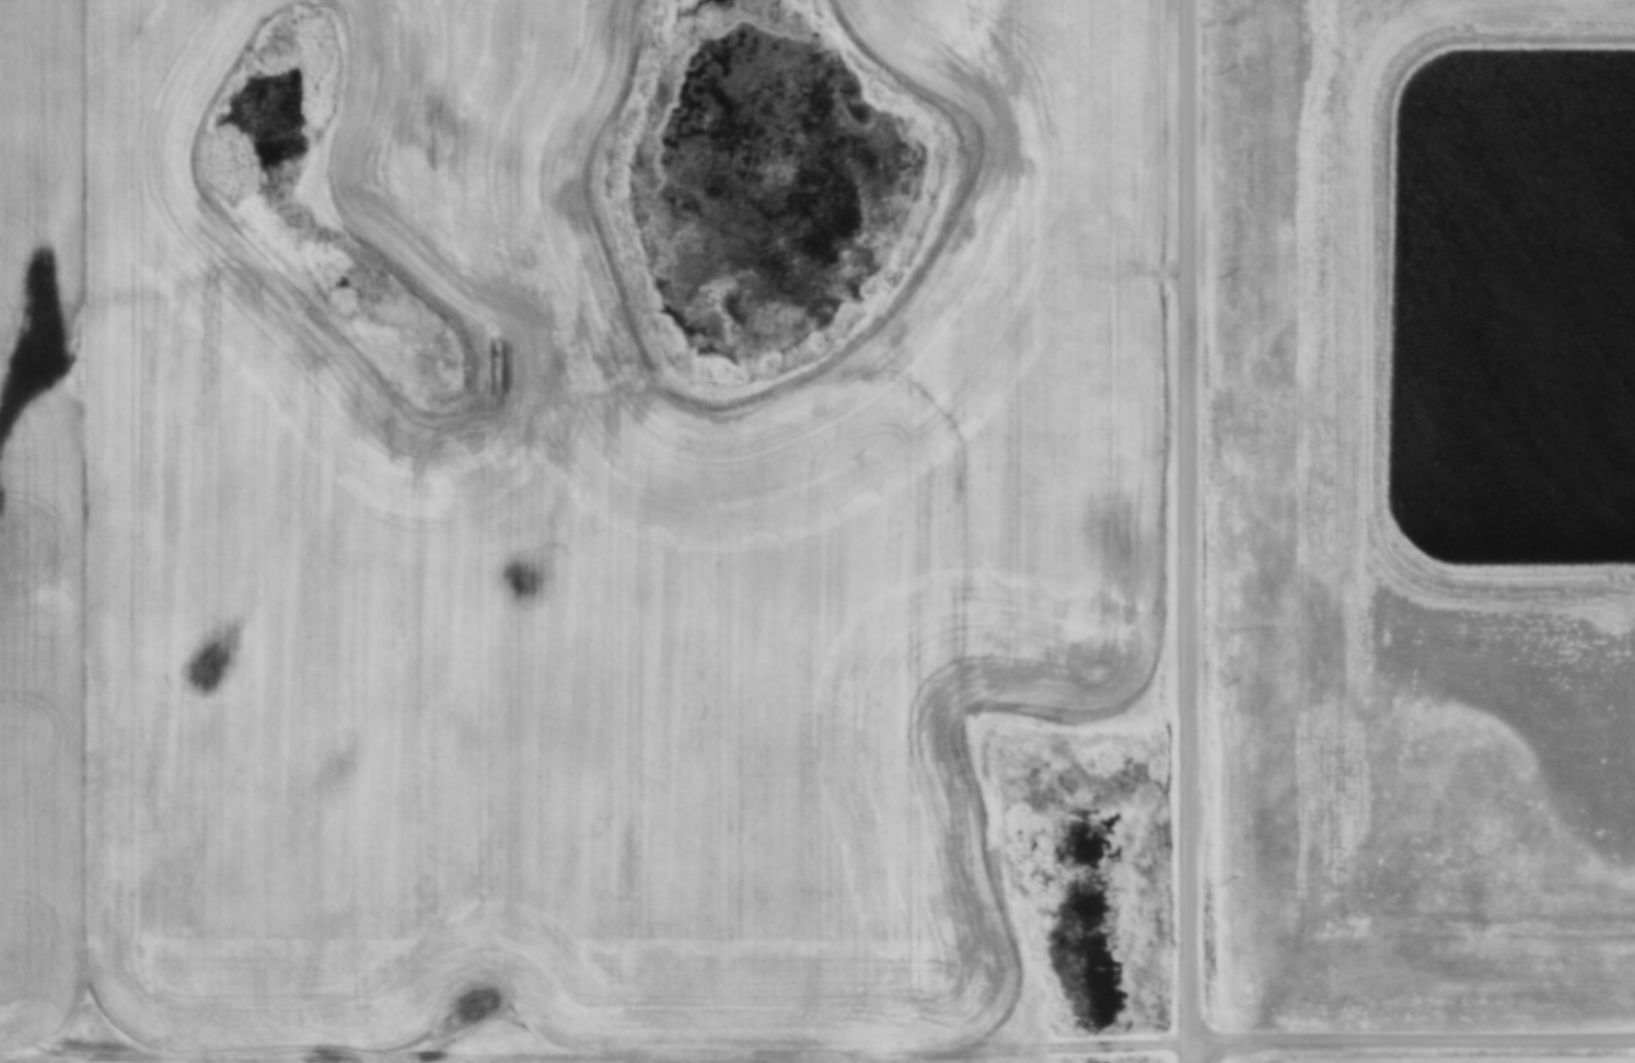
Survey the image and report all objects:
road: (1373, 297)
road: (1191, 531)
road: (1414, 1040)
road: (596, 1052)

